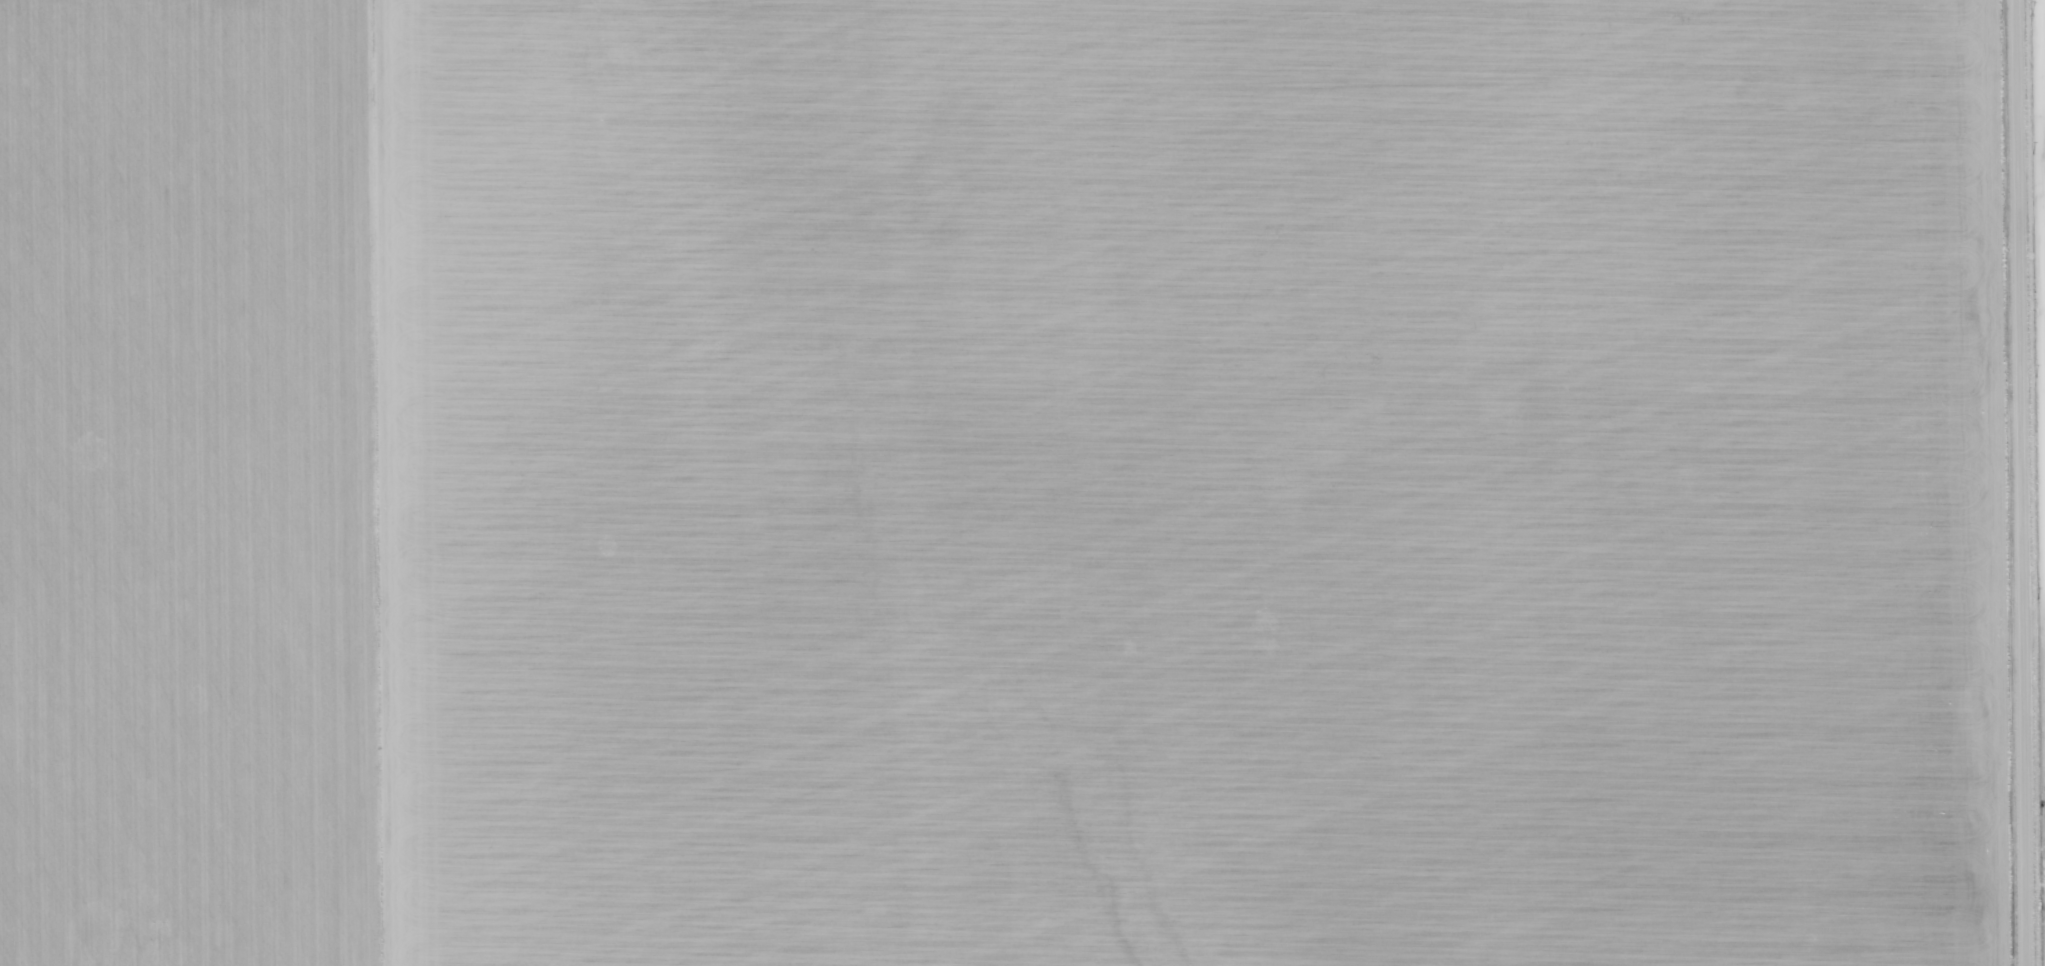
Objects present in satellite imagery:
road: (2043, 235)
road: (2019, 482)

